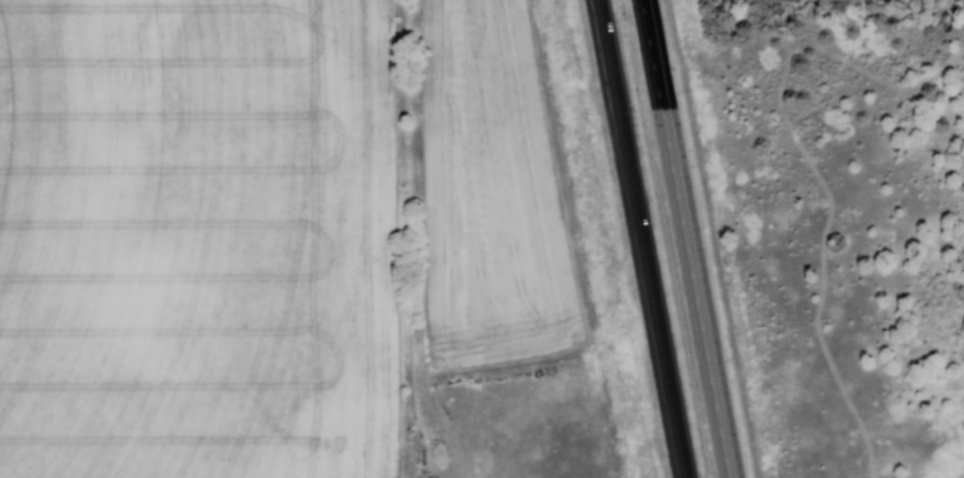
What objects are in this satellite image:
park: (823, 226)
road: (685, 239)

